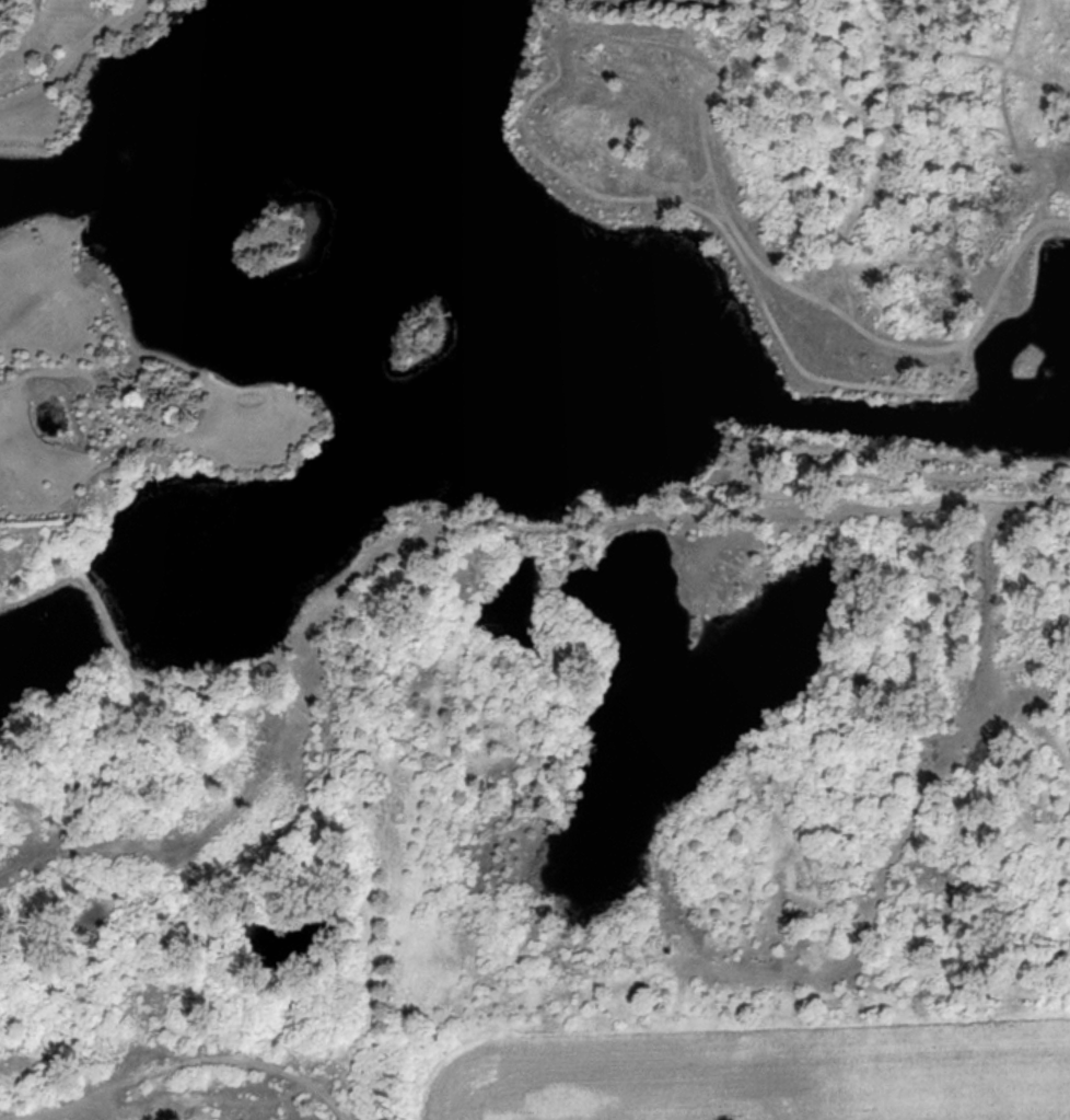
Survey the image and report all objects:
road: (102, 607)

